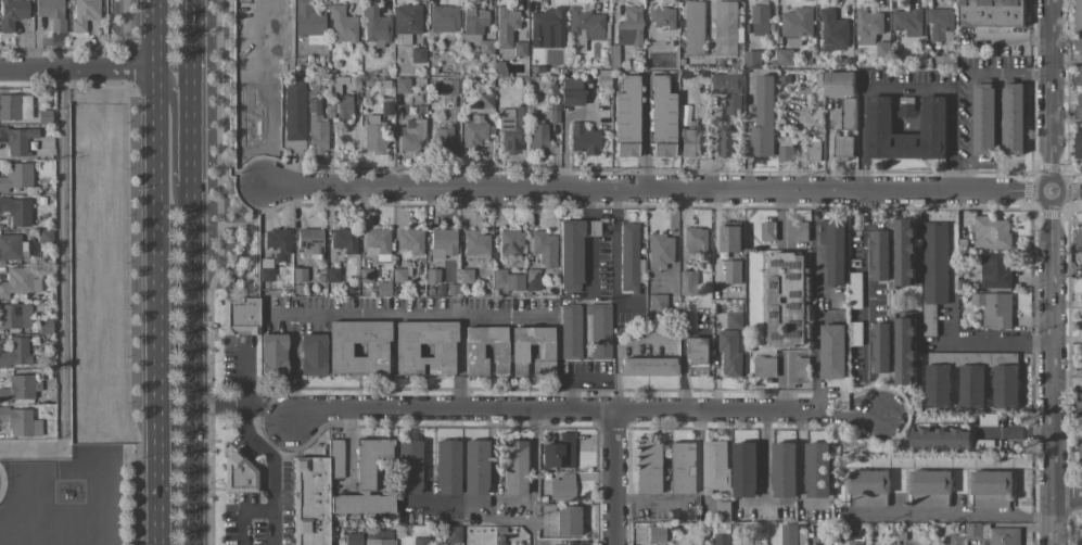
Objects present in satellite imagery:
building: (12, 13)
building: (50, 13)
building: (84, 13)
building: (992, 13)
building: (1079, 14)
building: (660, 16)
building: (307, 18)
building: (406, 18)
building: (443, 18)
building: (761, 18)
building: (908, 22)
building: (342, 25)
building: (473, 25)
building: (797, 25)
building: (941, 25)
building: (505, 26)
building: (868, 26)
building: (374, 27)
building: (628, 27)
building: (693, 27)
building: (728, 27)
building: (546, 28)
building: (584, 28)
building: (833, 30)
building: (1079, 45)
building: (519, 49)
building: (882, 49)
building: (502, 53)
building: (417, 54)
building: (786, 56)
building: (753, 59)
road: (78, 69)
building: (1078, 77)
building: (571, 84)
building: (840, 84)
building: (400, 85)
building: (447, 87)
road: (907, 88)
building: (729, 91)
building: (571, 98)
building: (484, 100)
building: (1079, 105)
building: (14, 106)
building: (907, 106)
building: (344, 107)
building: (626, 110)
building: (661, 110)
building: (848, 113)
building: (933, 115)
building: (43, 116)
building: (293, 117)
building: (984, 118)
building: (1013, 118)
building: (764, 119)
building: (316, 129)
building: (474, 130)
building: (509, 131)
road: (179, 132)
building: (372, 134)
building: (411, 136)
building: (442, 138)
building: (16, 139)
building: (538, 139)
building: (583, 139)
building: (690, 142)
building: (727, 142)
building: (1079, 145)
building: (843, 147)
building: (786, 148)
building: (625, 150)
building: (662, 150)
building: (814, 151)
building: (16, 176)
road: (673, 189)
building: (16, 212)
road: (786, 216)
road: (252, 218)
building: (767, 231)
building: (801, 231)
building: (991, 232)
building: (1079, 235)
building: (730, 239)
building: (308, 240)
building: (343, 240)
building: (377, 240)
building: (409, 240)
building: (696, 240)
building: (475, 242)
building: (509, 242)
road: (815, 242)
building: (277, 243)
building: (442, 243)
building: (12, 248)
building: (544, 248)
building: (660, 250)
building: (835, 250)
building: (573, 251)
building: (628, 257)
building: (906, 264)
building: (265, 270)
building: (995, 270)
road: (157, 271)
road: (192, 271)
building: (734, 271)
building: (934, 271)
road: (1051, 271)
road: (125, 272)
road: (214, 272)
building: (466, 275)
building: (532, 280)
building: (21, 281)
building: (506, 281)
building: (688, 282)
road: (868, 284)
road: (63, 288)
building: (786, 300)
building: (657, 305)
building: (995, 309)
road: (410, 313)
building: (15, 316)
building: (239, 316)
building: (735, 319)
building: (570, 331)
building: (599, 331)
road: (994, 341)
building: (357, 347)
building: (424, 347)
building: (882, 347)
building: (472, 351)
building: (532, 351)
building: (906, 351)
building: (15, 352)
road: (817, 352)
building: (833, 352)
building: (272, 353)
building: (730, 353)
building: (311, 354)
building: (697, 356)
road: (461, 363)
building: (765, 366)
building: (647, 367)
building: (939, 385)
building: (971, 385)
building: (1006, 385)
building: (17, 388)
building: (1079, 400)
road: (268, 407)
road: (584, 413)
building: (20, 422)
building: (941, 439)
road: (260, 445)
building: (1081, 451)
building: (558, 453)
road: (765, 457)
building: (369, 460)
building: (715, 466)
building: (408, 467)
building: (474, 467)
building: (513, 467)
building: (446, 468)
building: (647, 468)
building: (680, 468)
building: (746, 469)
building: (785, 469)
building: (817, 470)
building: (238, 473)
road: (532, 479)
road: (614, 479)
building: (562, 486)
building: (868, 487)
building: (930, 489)
building: (992, 489)
building: (314, 494)
road: (1067, 497)
road: (763, 500)
building: (359, 504)
building: (723, 509)
road: (241, 511)
road: (947, 515)
building: (568, 521)
building: (973, 530)
building: (655, 533)
building: (453, 534)
building: (789, 534)
building: (1005, 535)
building: (1080, 536)
building: (353, 538)
building: (723, 538)
building: (957, 540)
building: (420, 541)
building: (379, 542)
building: (856, 543)

